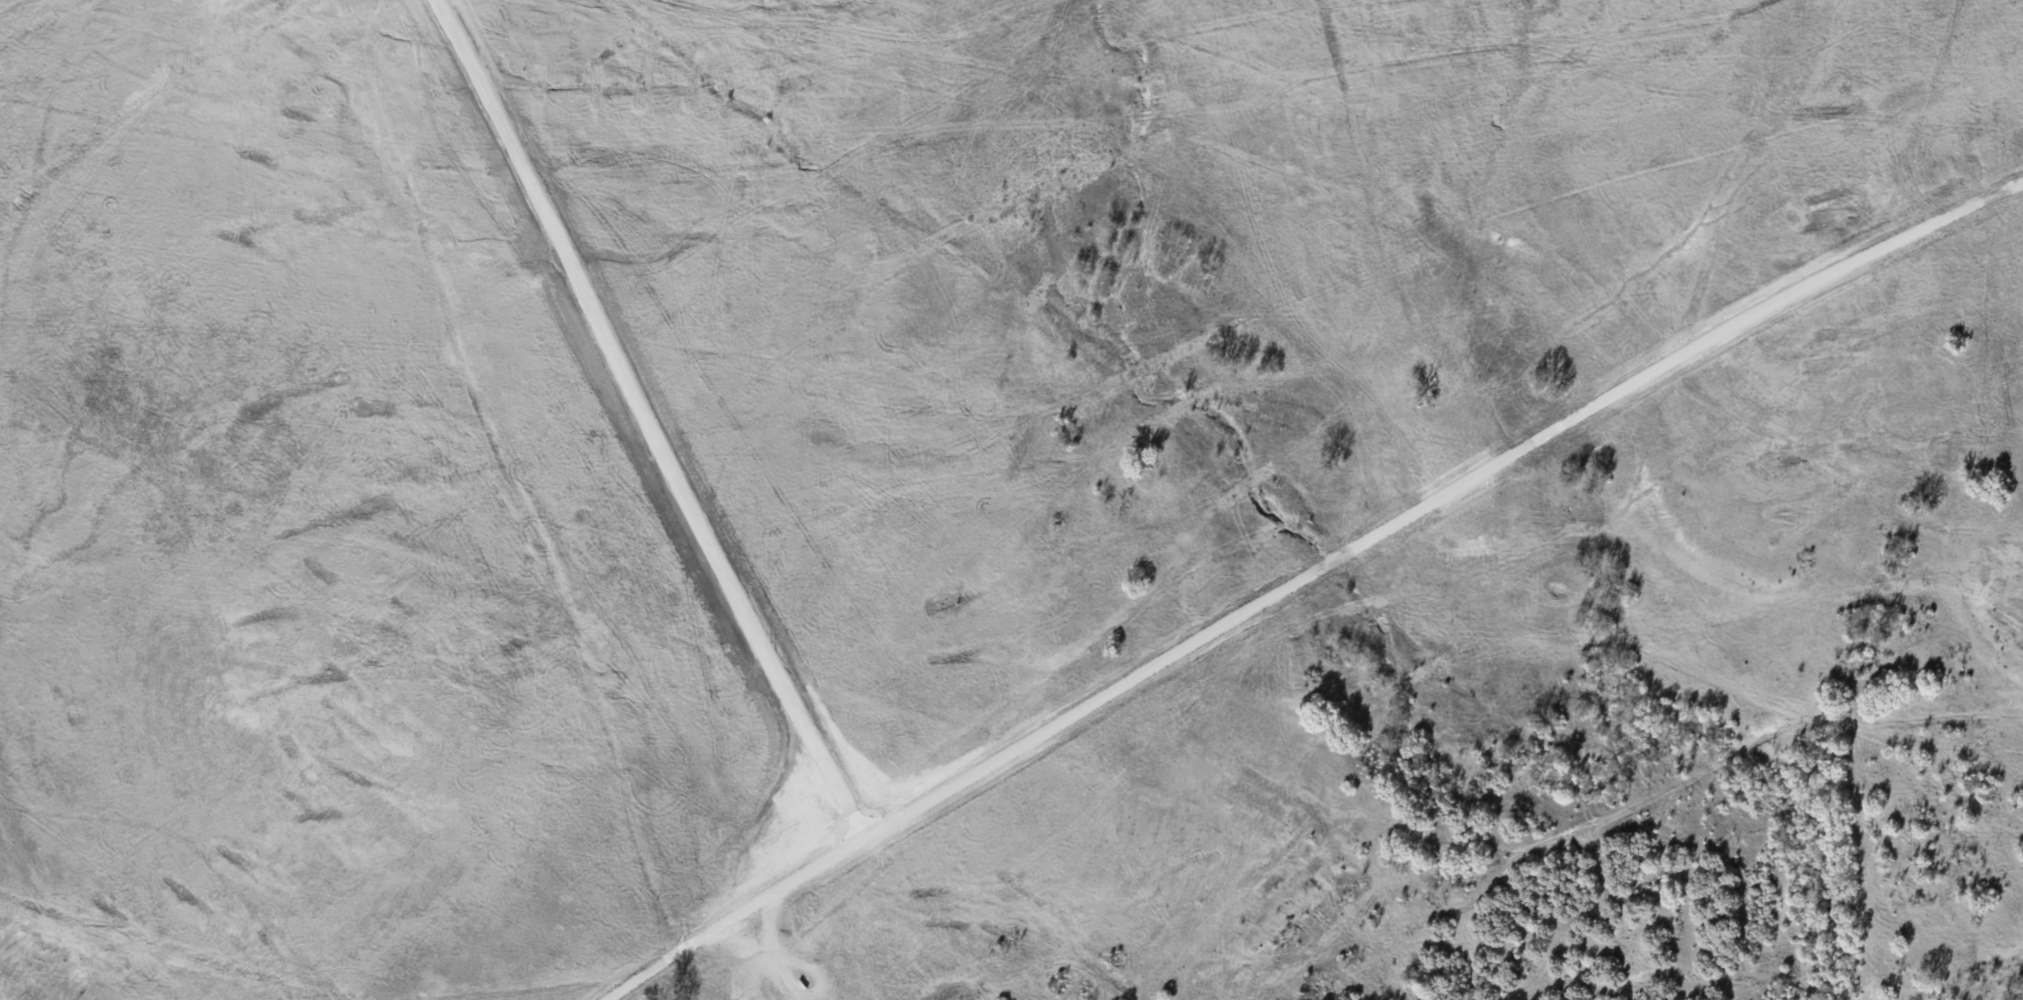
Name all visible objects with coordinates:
road: (1305, 577)

